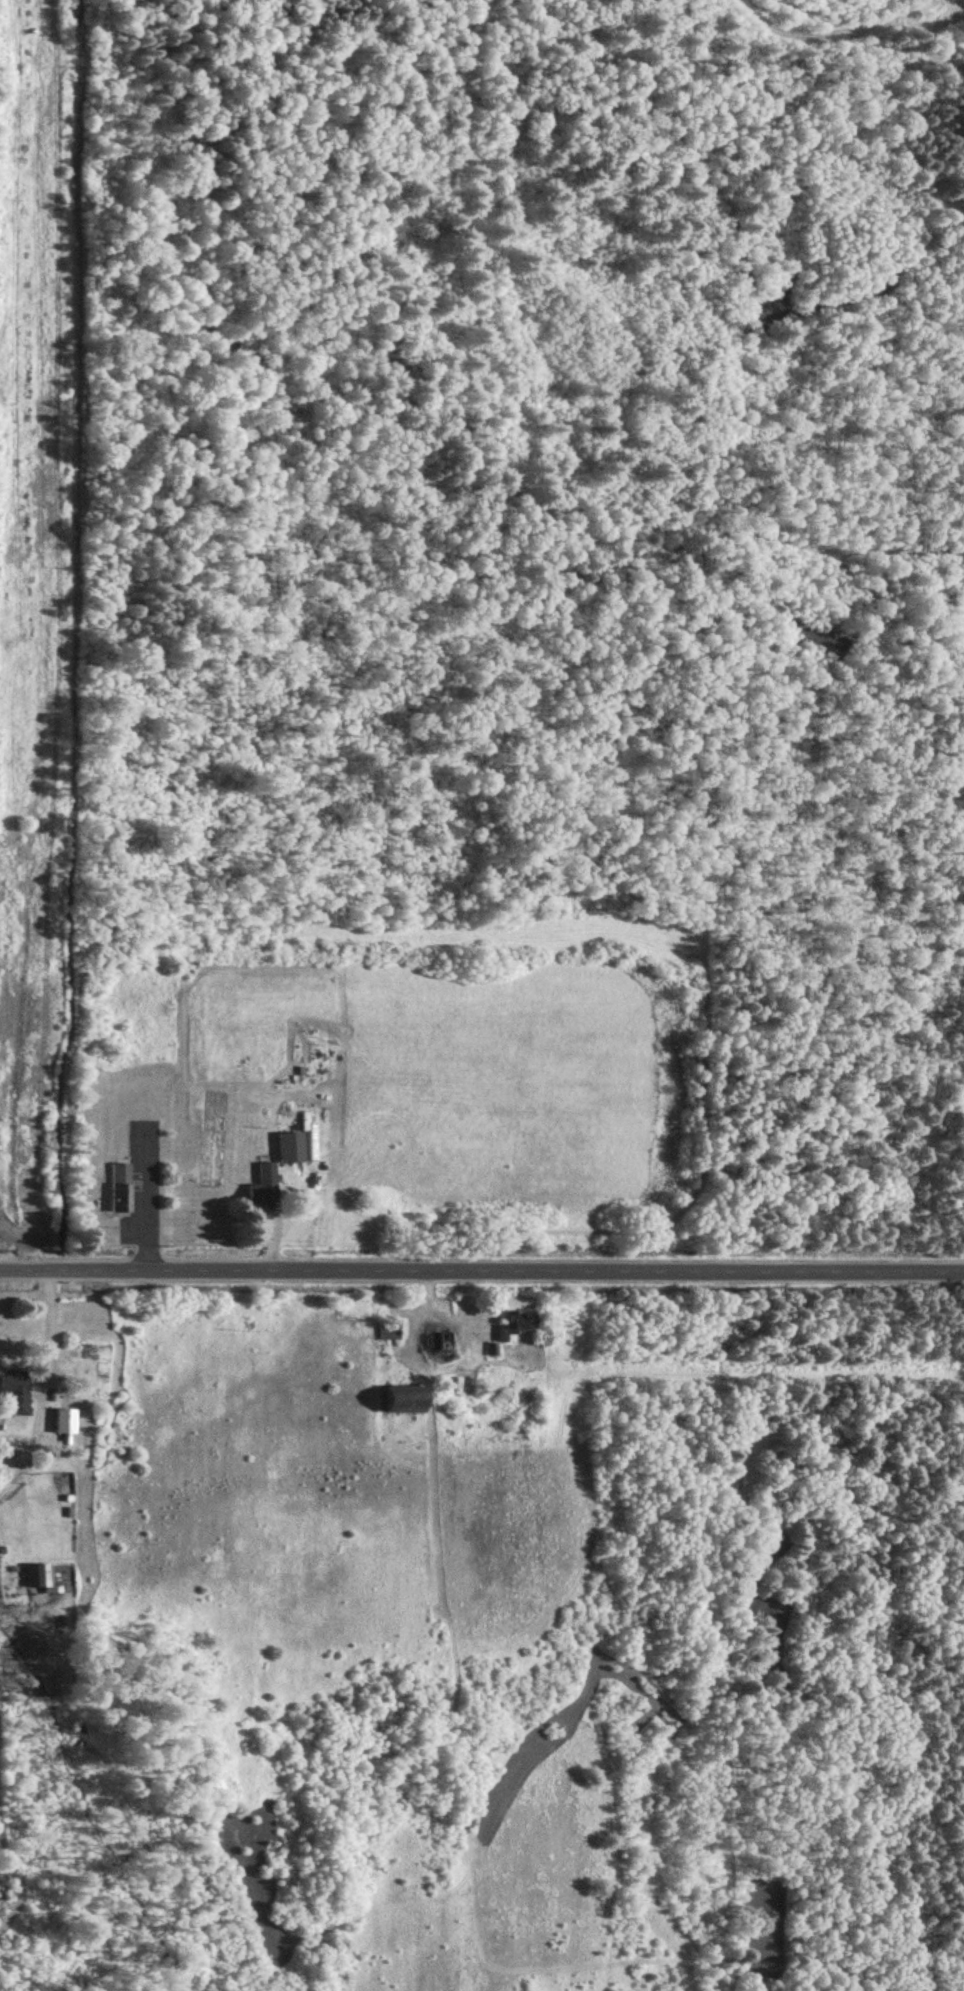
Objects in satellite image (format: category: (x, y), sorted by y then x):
building: (266, 1186)
building: (123, 1190)
road: (481, 1269)
building: (519, 1324)
building: (392, 1330)
road: (44, 1385)
building: (18, 1392)
building: (406, 1398)
building: (67, 1420)
building: (44, 1574)

